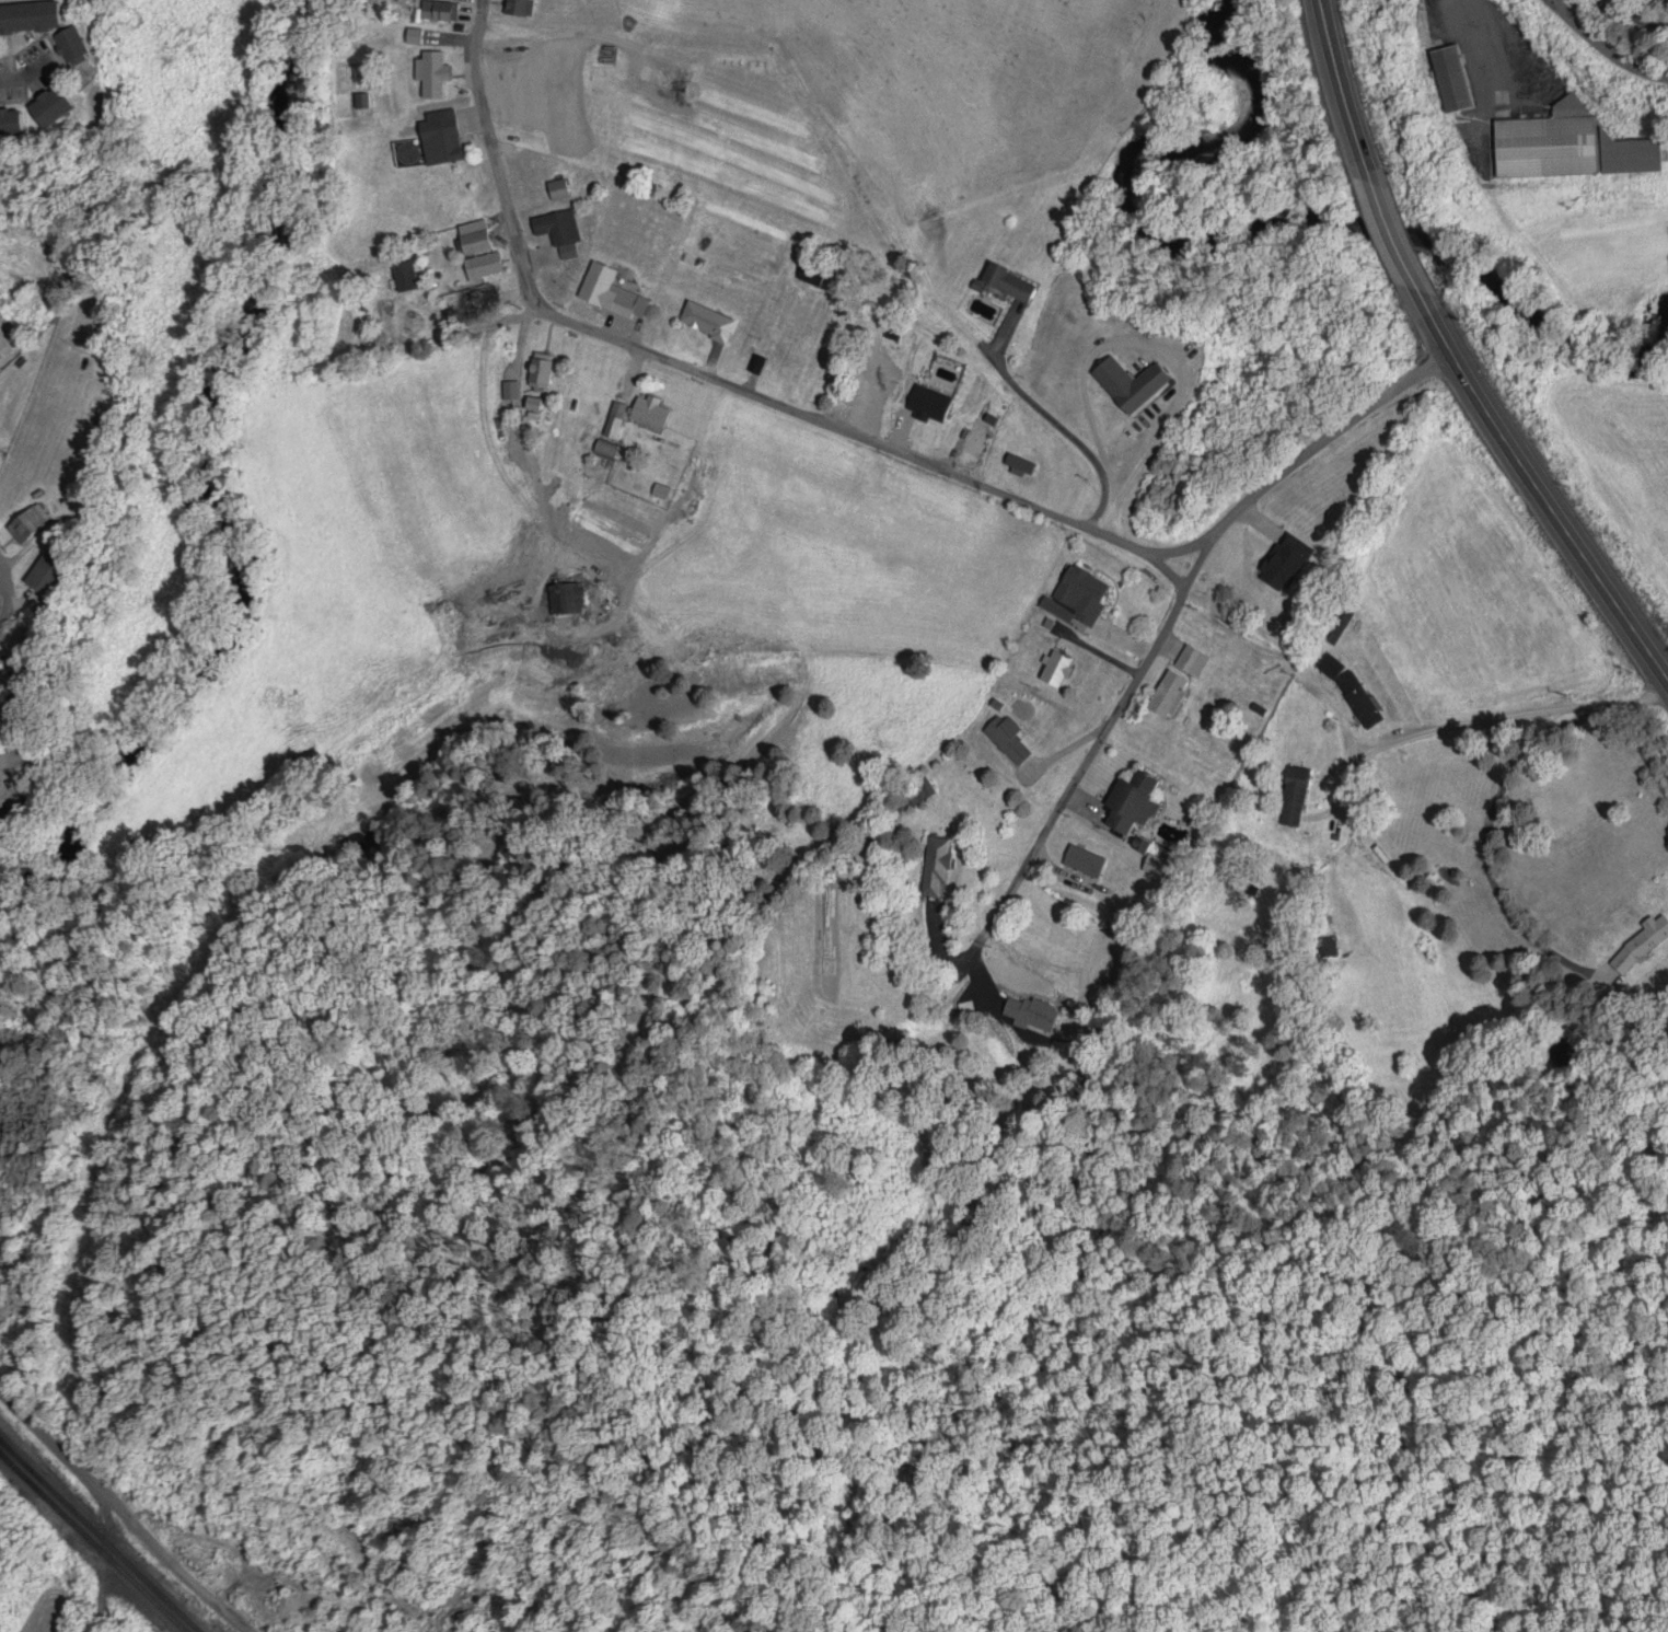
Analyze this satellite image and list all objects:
road: (1608, 35)
road: (26, 67)
road: (1459, 357)
road: (869, 441)
road: (5, 594)
road: (1534, 713)
road: (44, 748)
road: (121, 1512)
railway: (101, 1535)
railway: (93, 1541)

